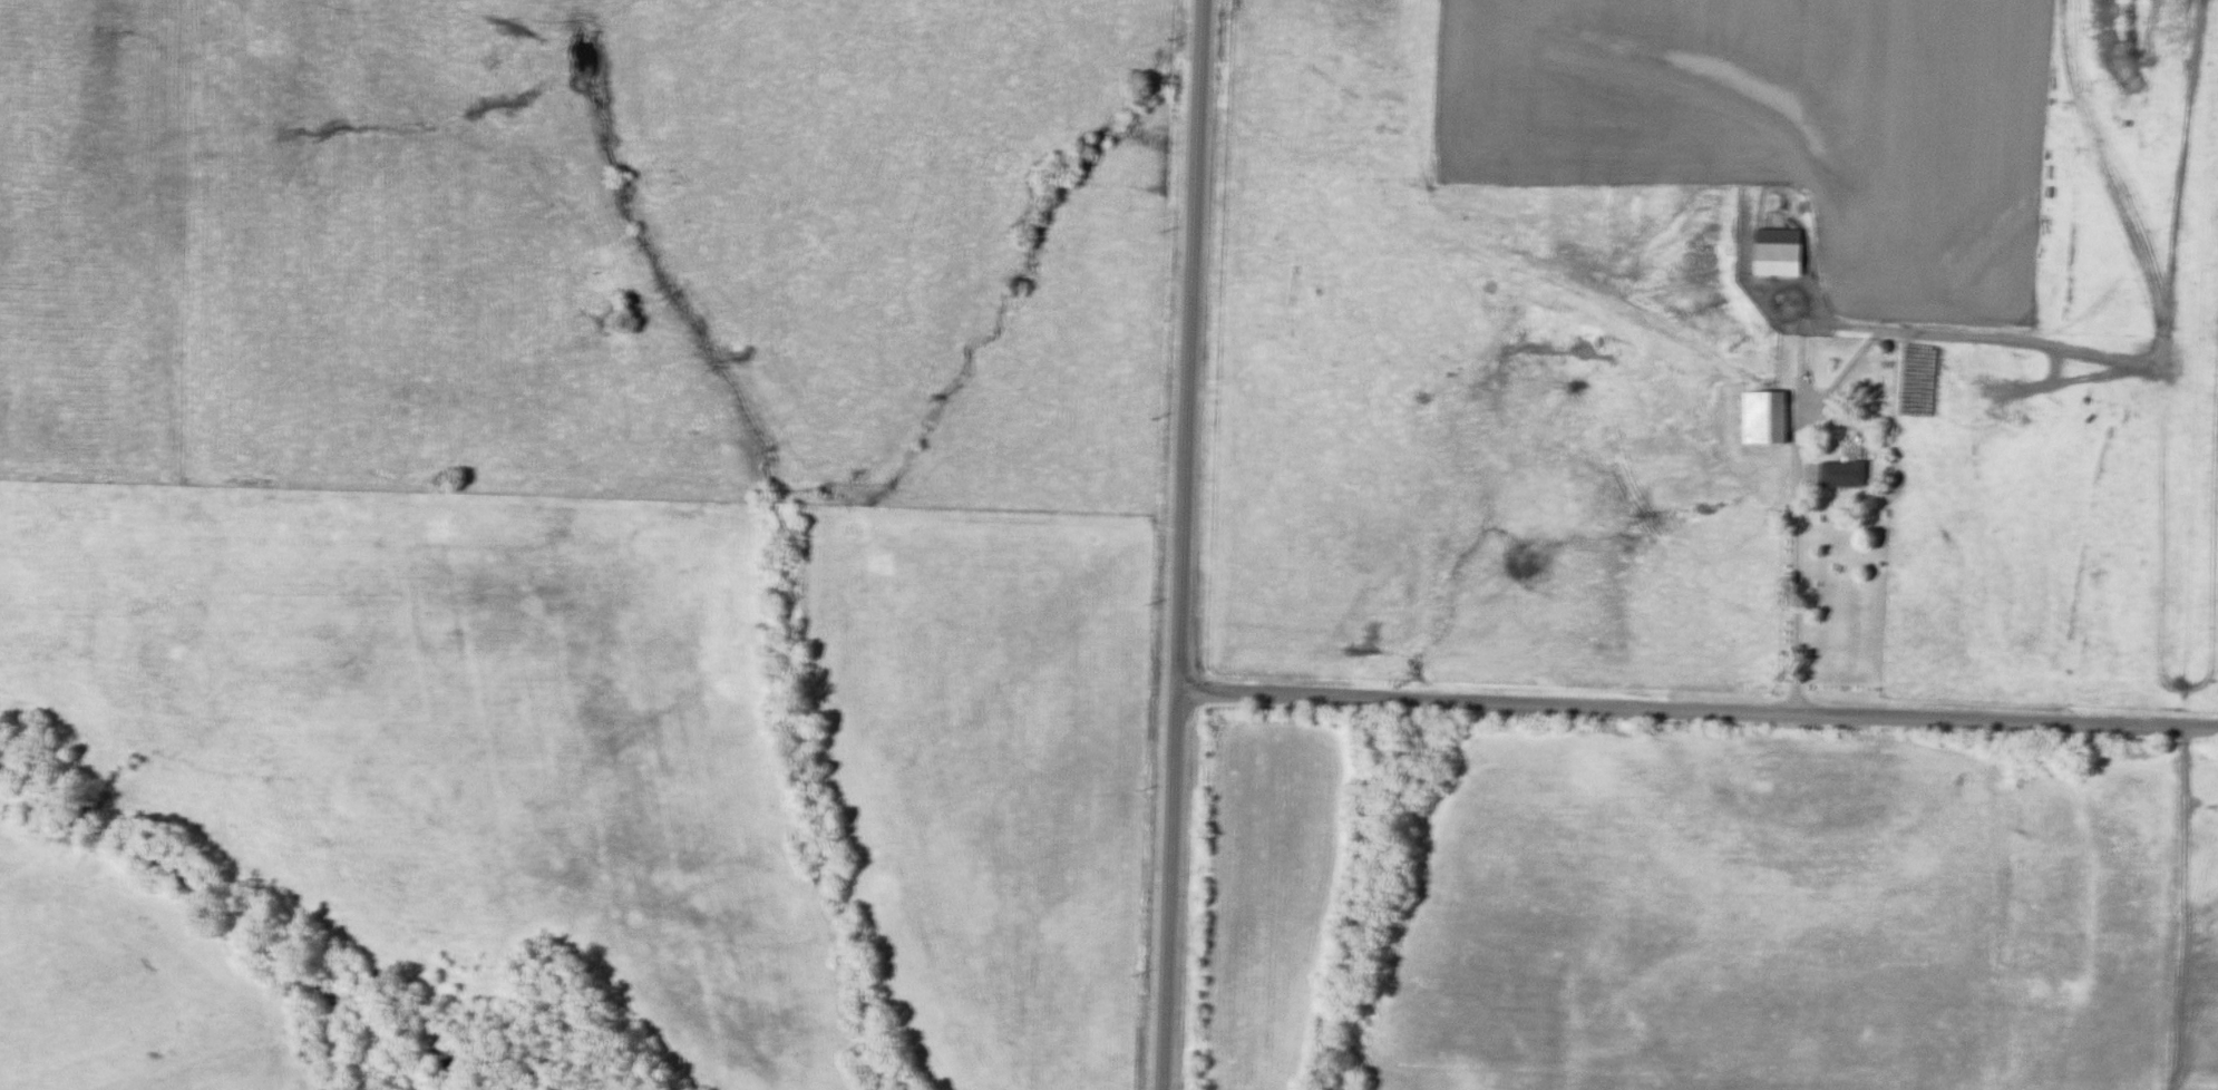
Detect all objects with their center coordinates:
crop: (1777, 123)
building: (1780, 253)
building: (1767, 419)
building: (1845, 476)
road: (1181, 544)
road: (1798, 594)
road: (1696, 711)

